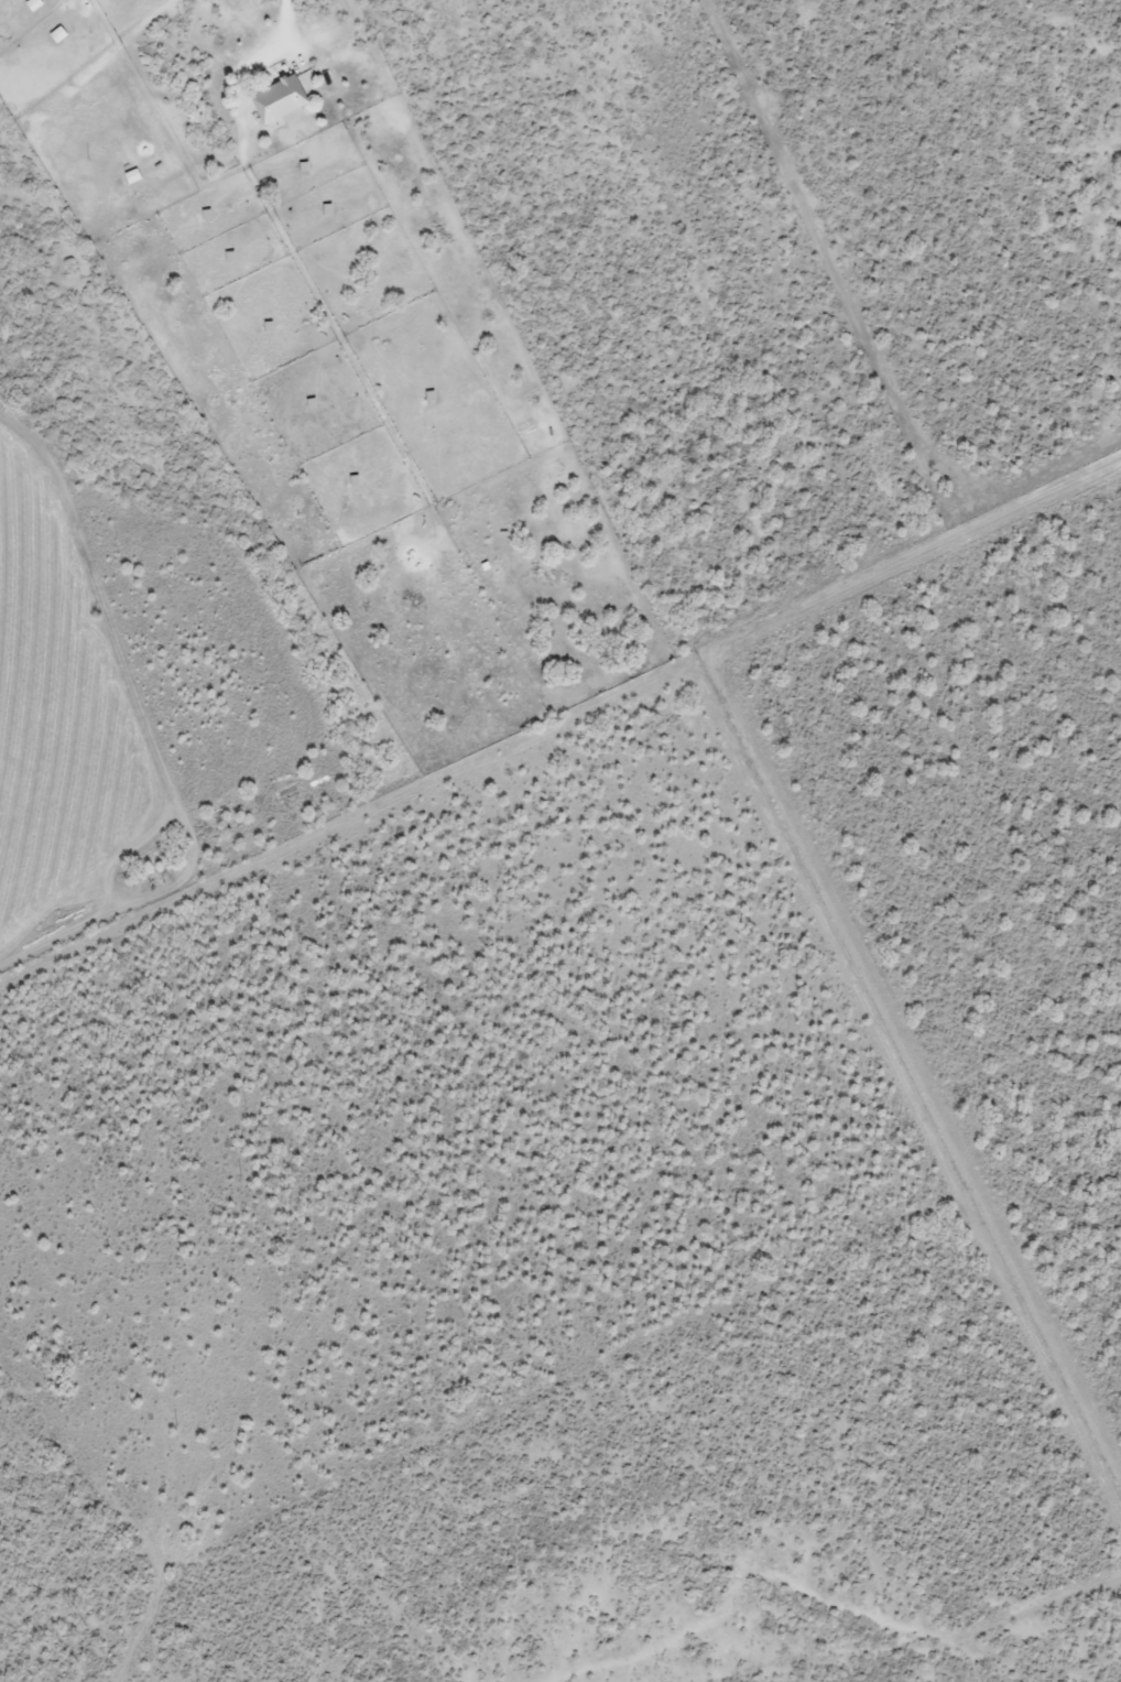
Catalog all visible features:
building: (275, 102)
building: (285, 794)

